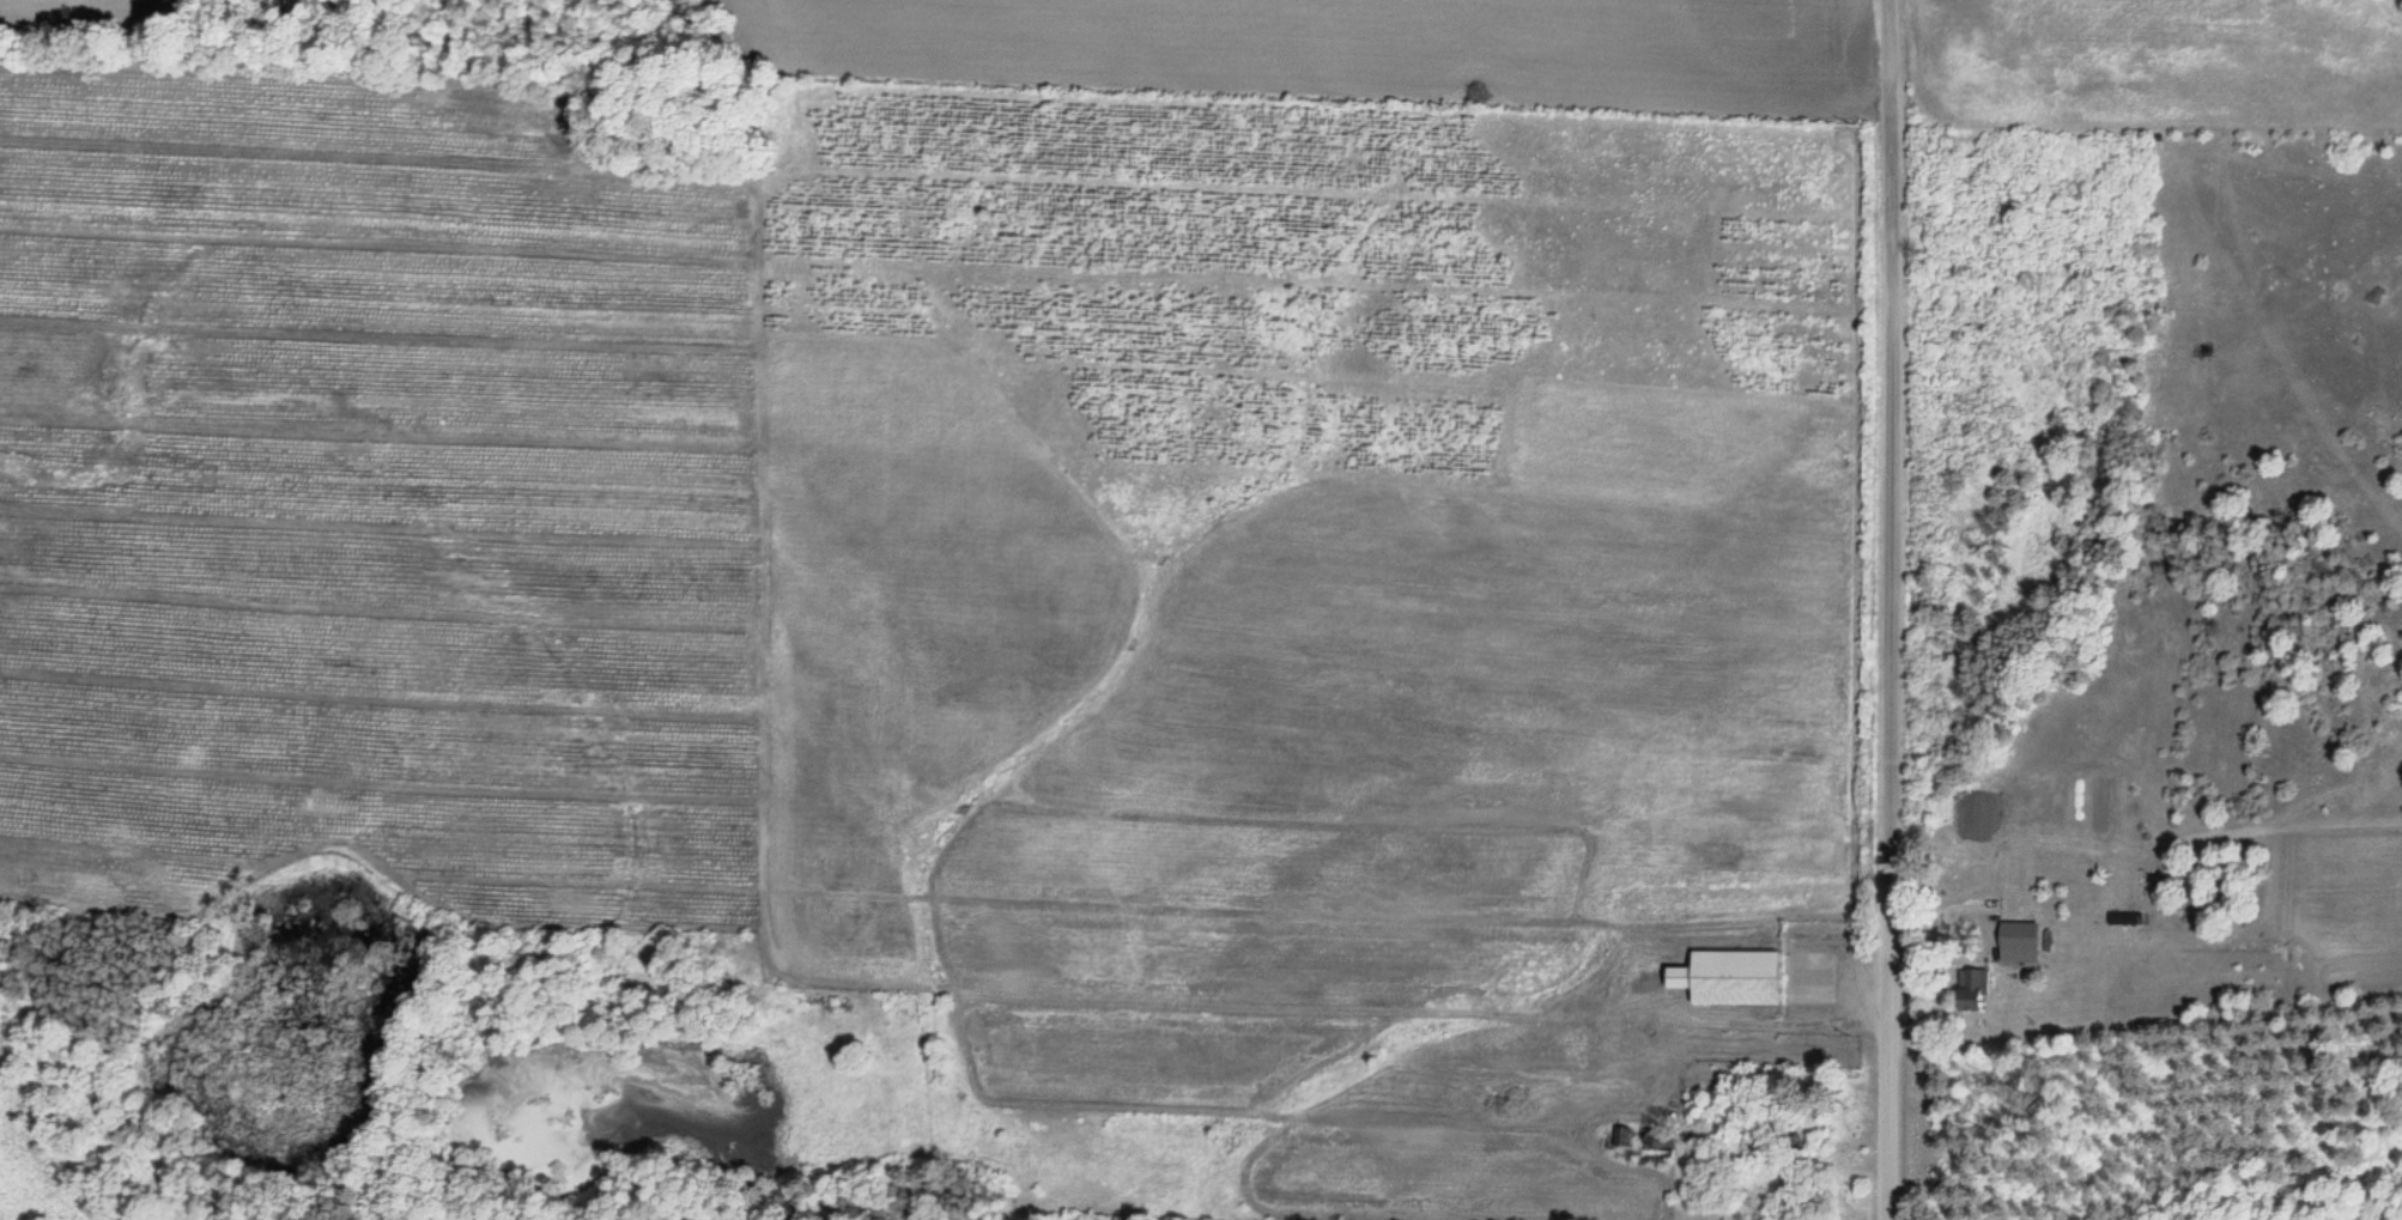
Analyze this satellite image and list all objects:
road: (1888, 609)
building: (2124, 919)
building: (1725, 978)
building: (1971, 991)

